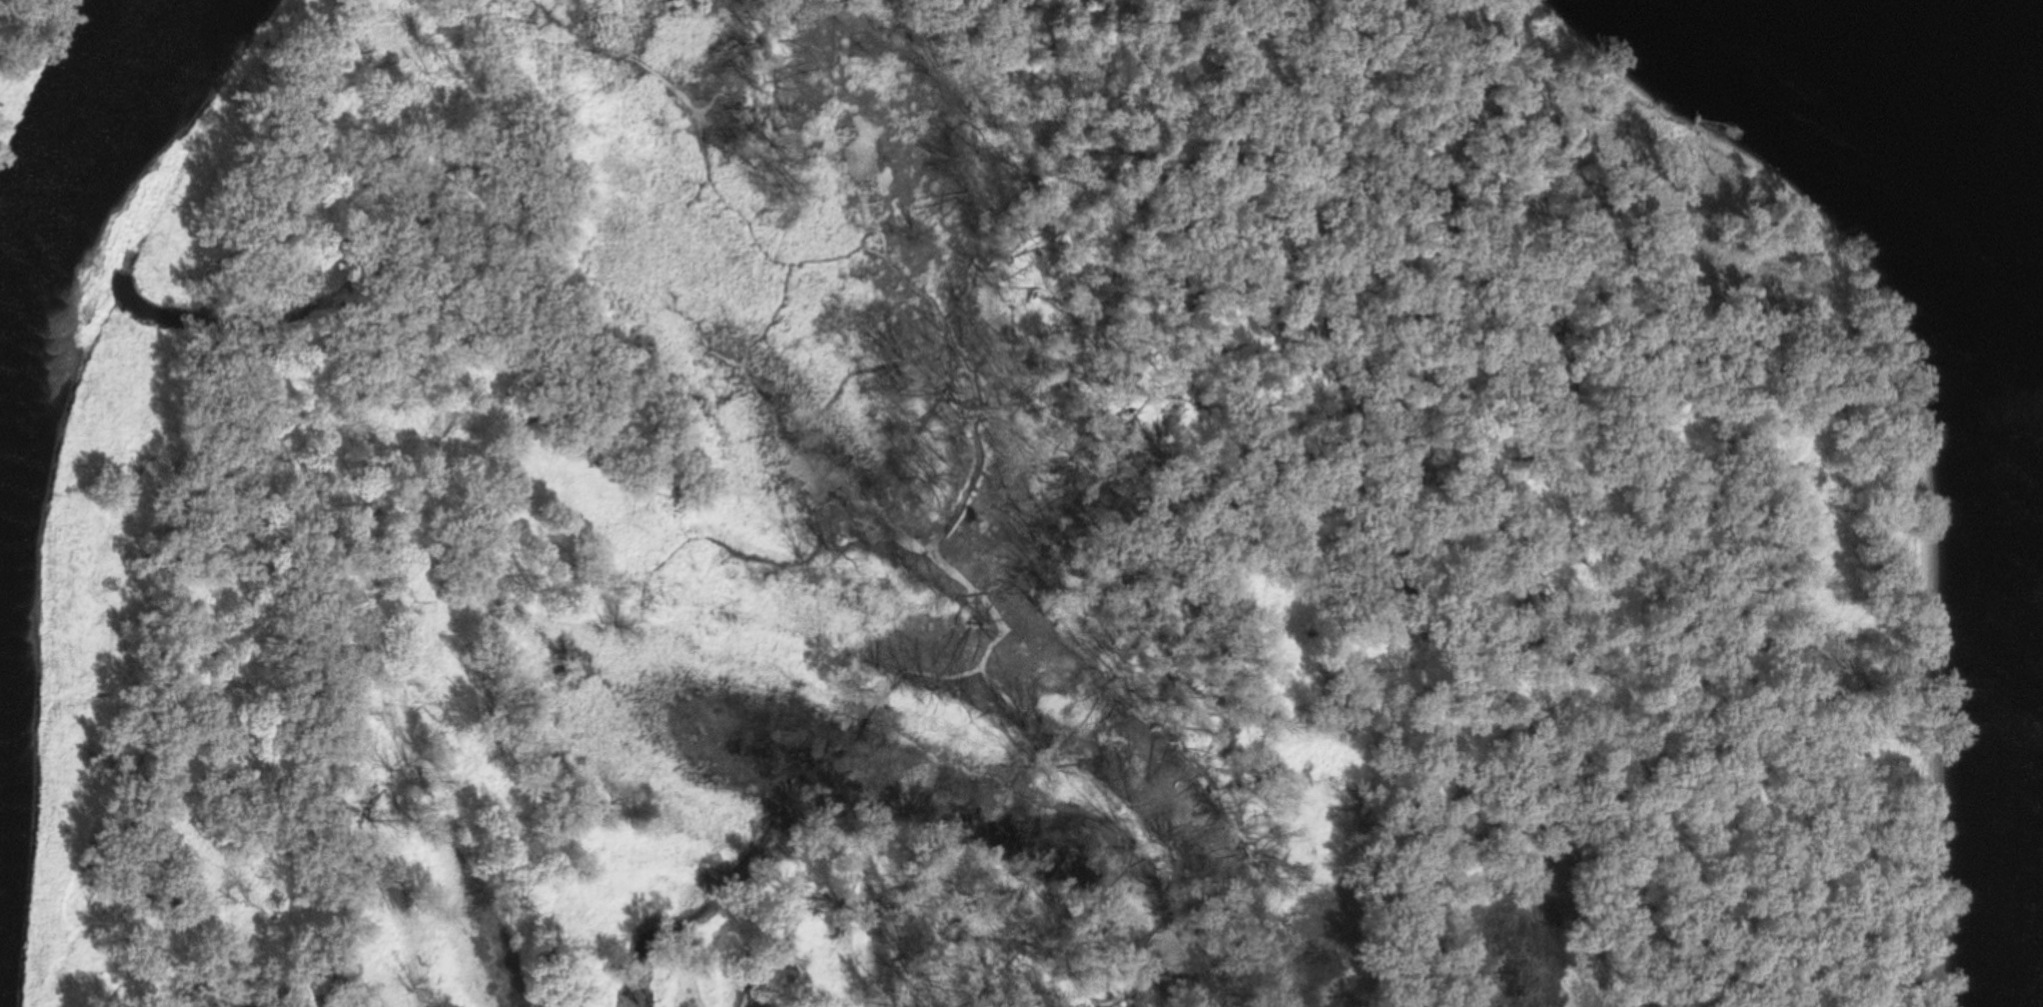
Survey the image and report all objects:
river: (75, 140)

